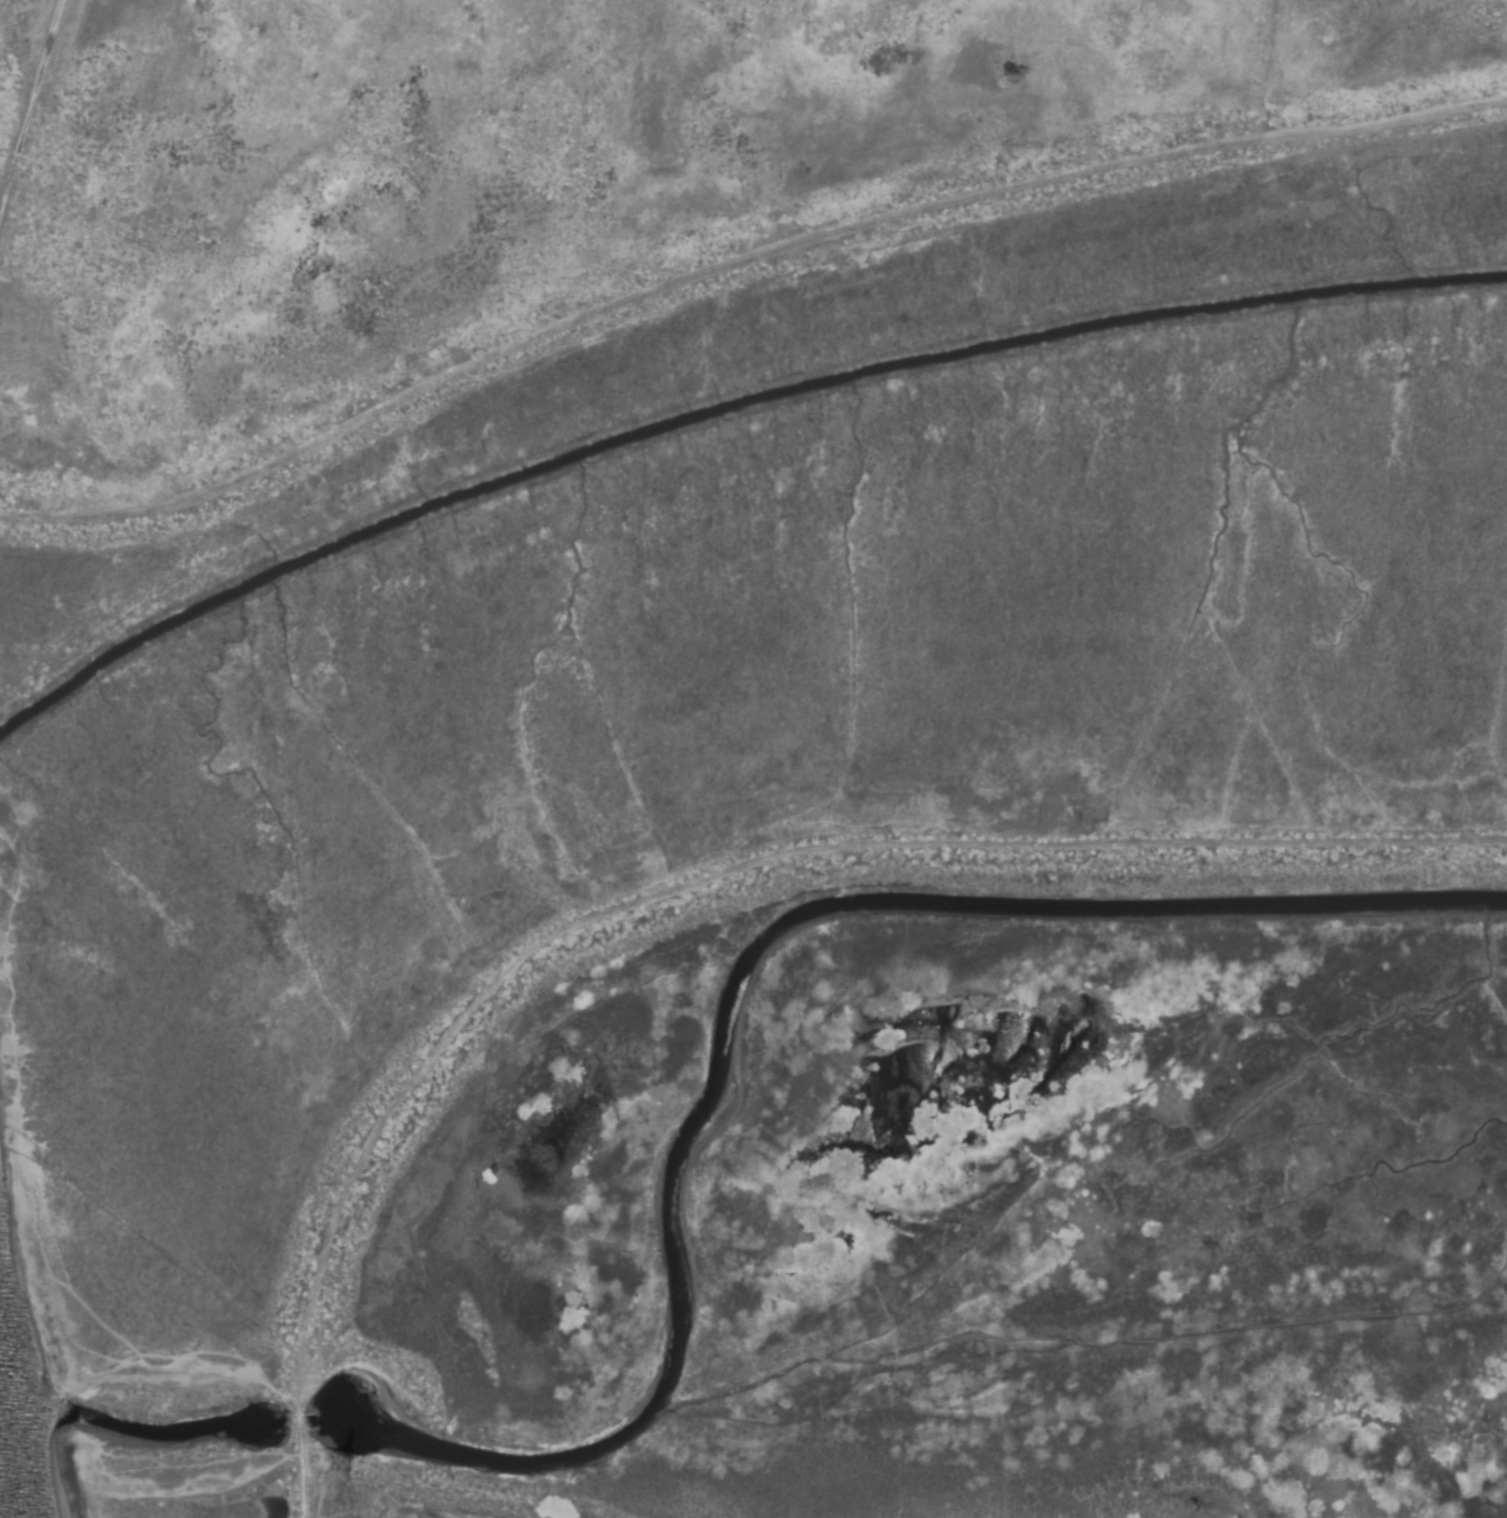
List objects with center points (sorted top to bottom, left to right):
power tower: (334, 1474)

